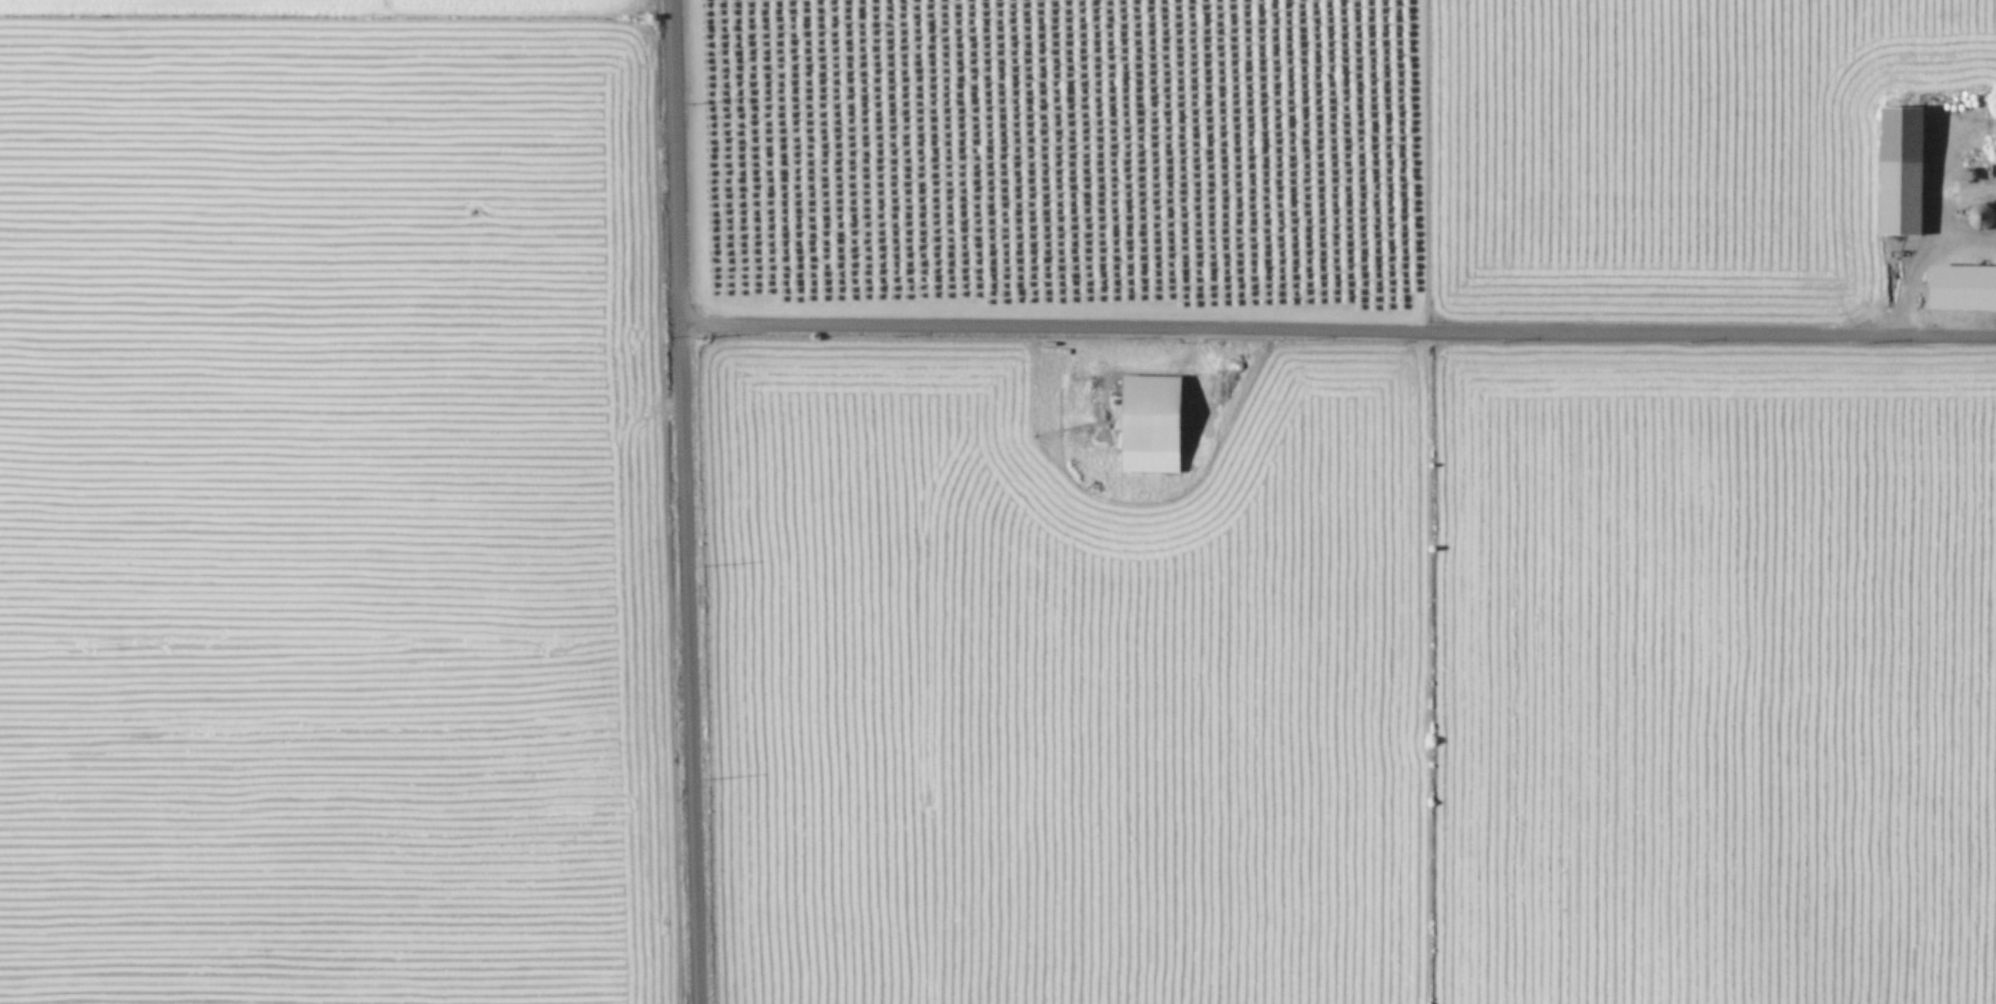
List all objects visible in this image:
building: (1898, 168)
road: (1941, 210)
road: (1968, 236)
road: (1335, 326)
building: (1147, 422)
road: (681, 502)
crop: (998, 502)

